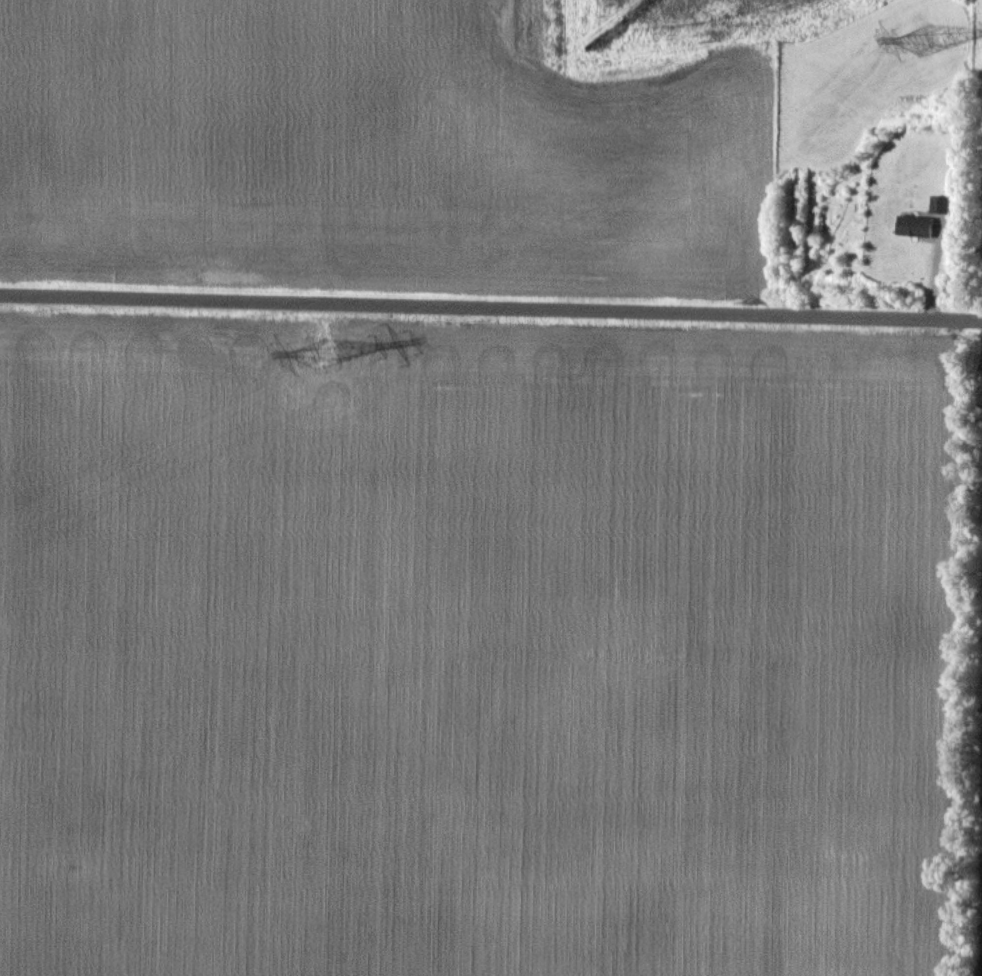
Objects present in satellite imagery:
power tower: (925, 37)
crop: (368, 153)
building: (940, 204)
building: (915, 226)
road: (491, 306)
power tower: (318, 353)
crop: (479, 650)
crop: (973, 677)

